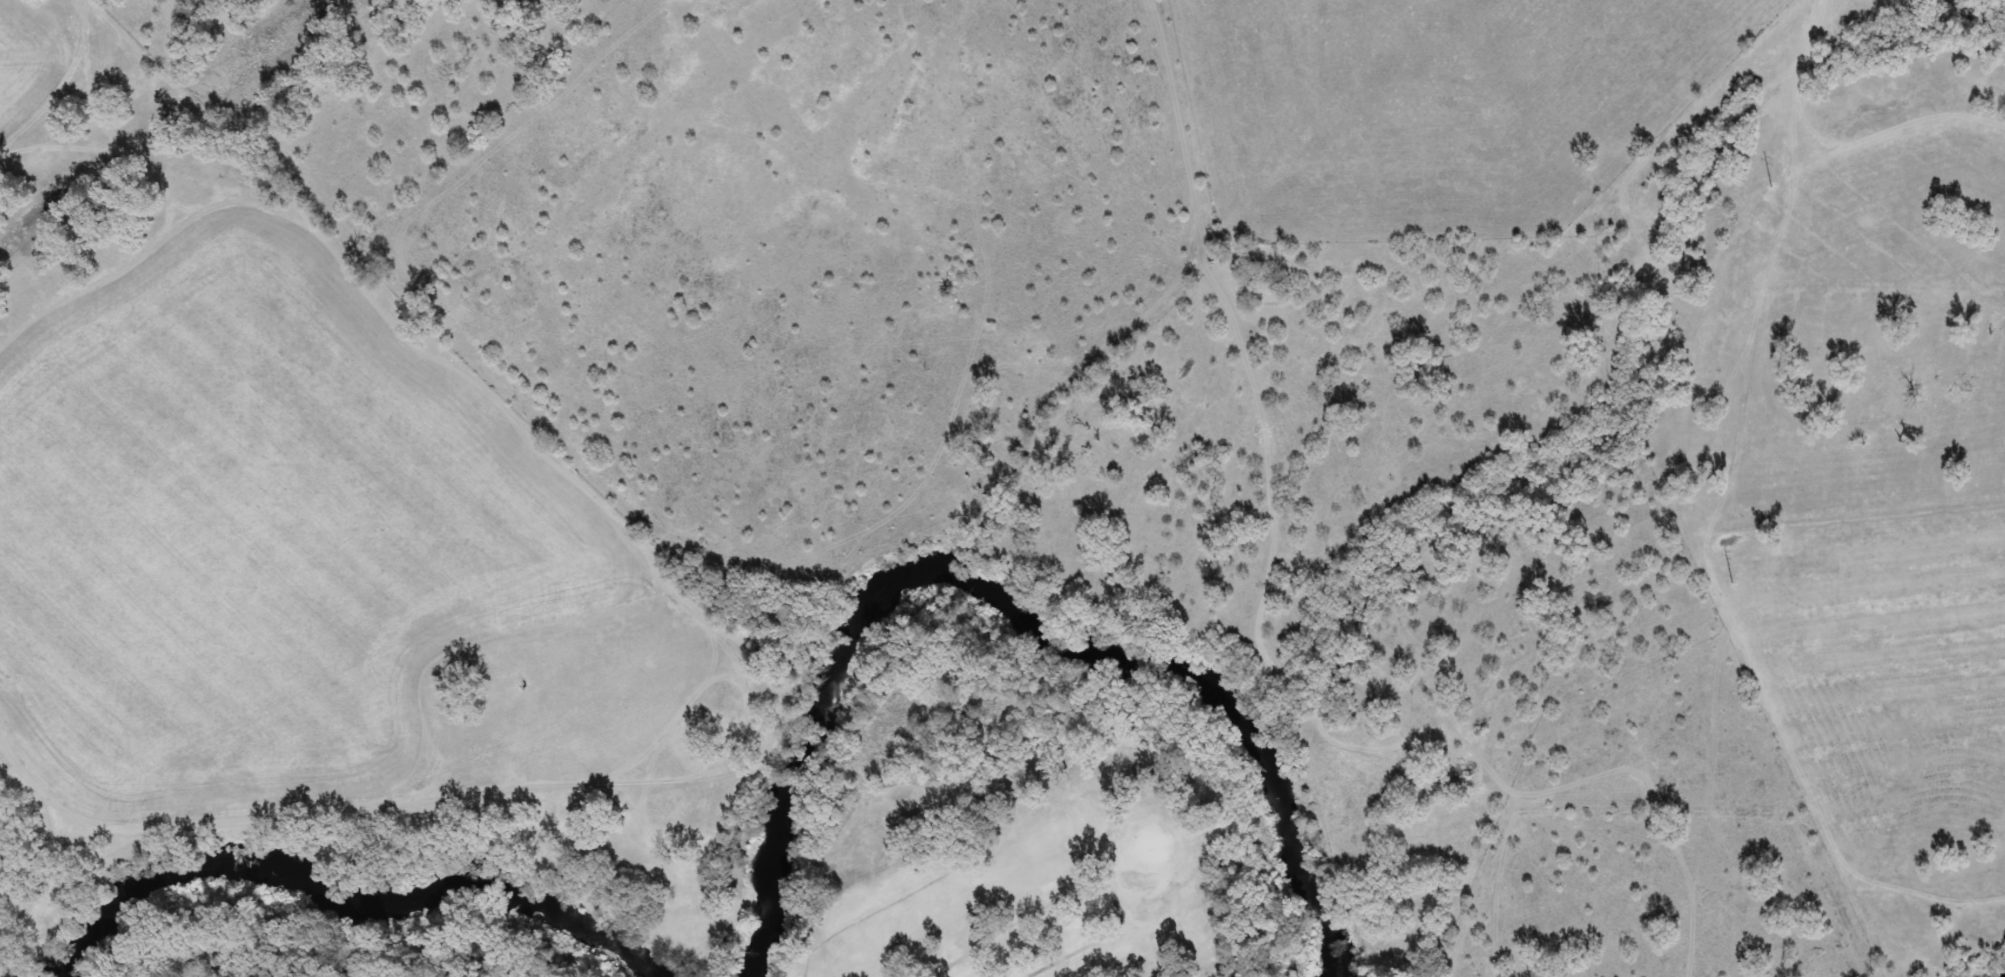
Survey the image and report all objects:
river: (1000, 614)
park: (1032, 836)
river: (357, 892)
park: (397, 962)

